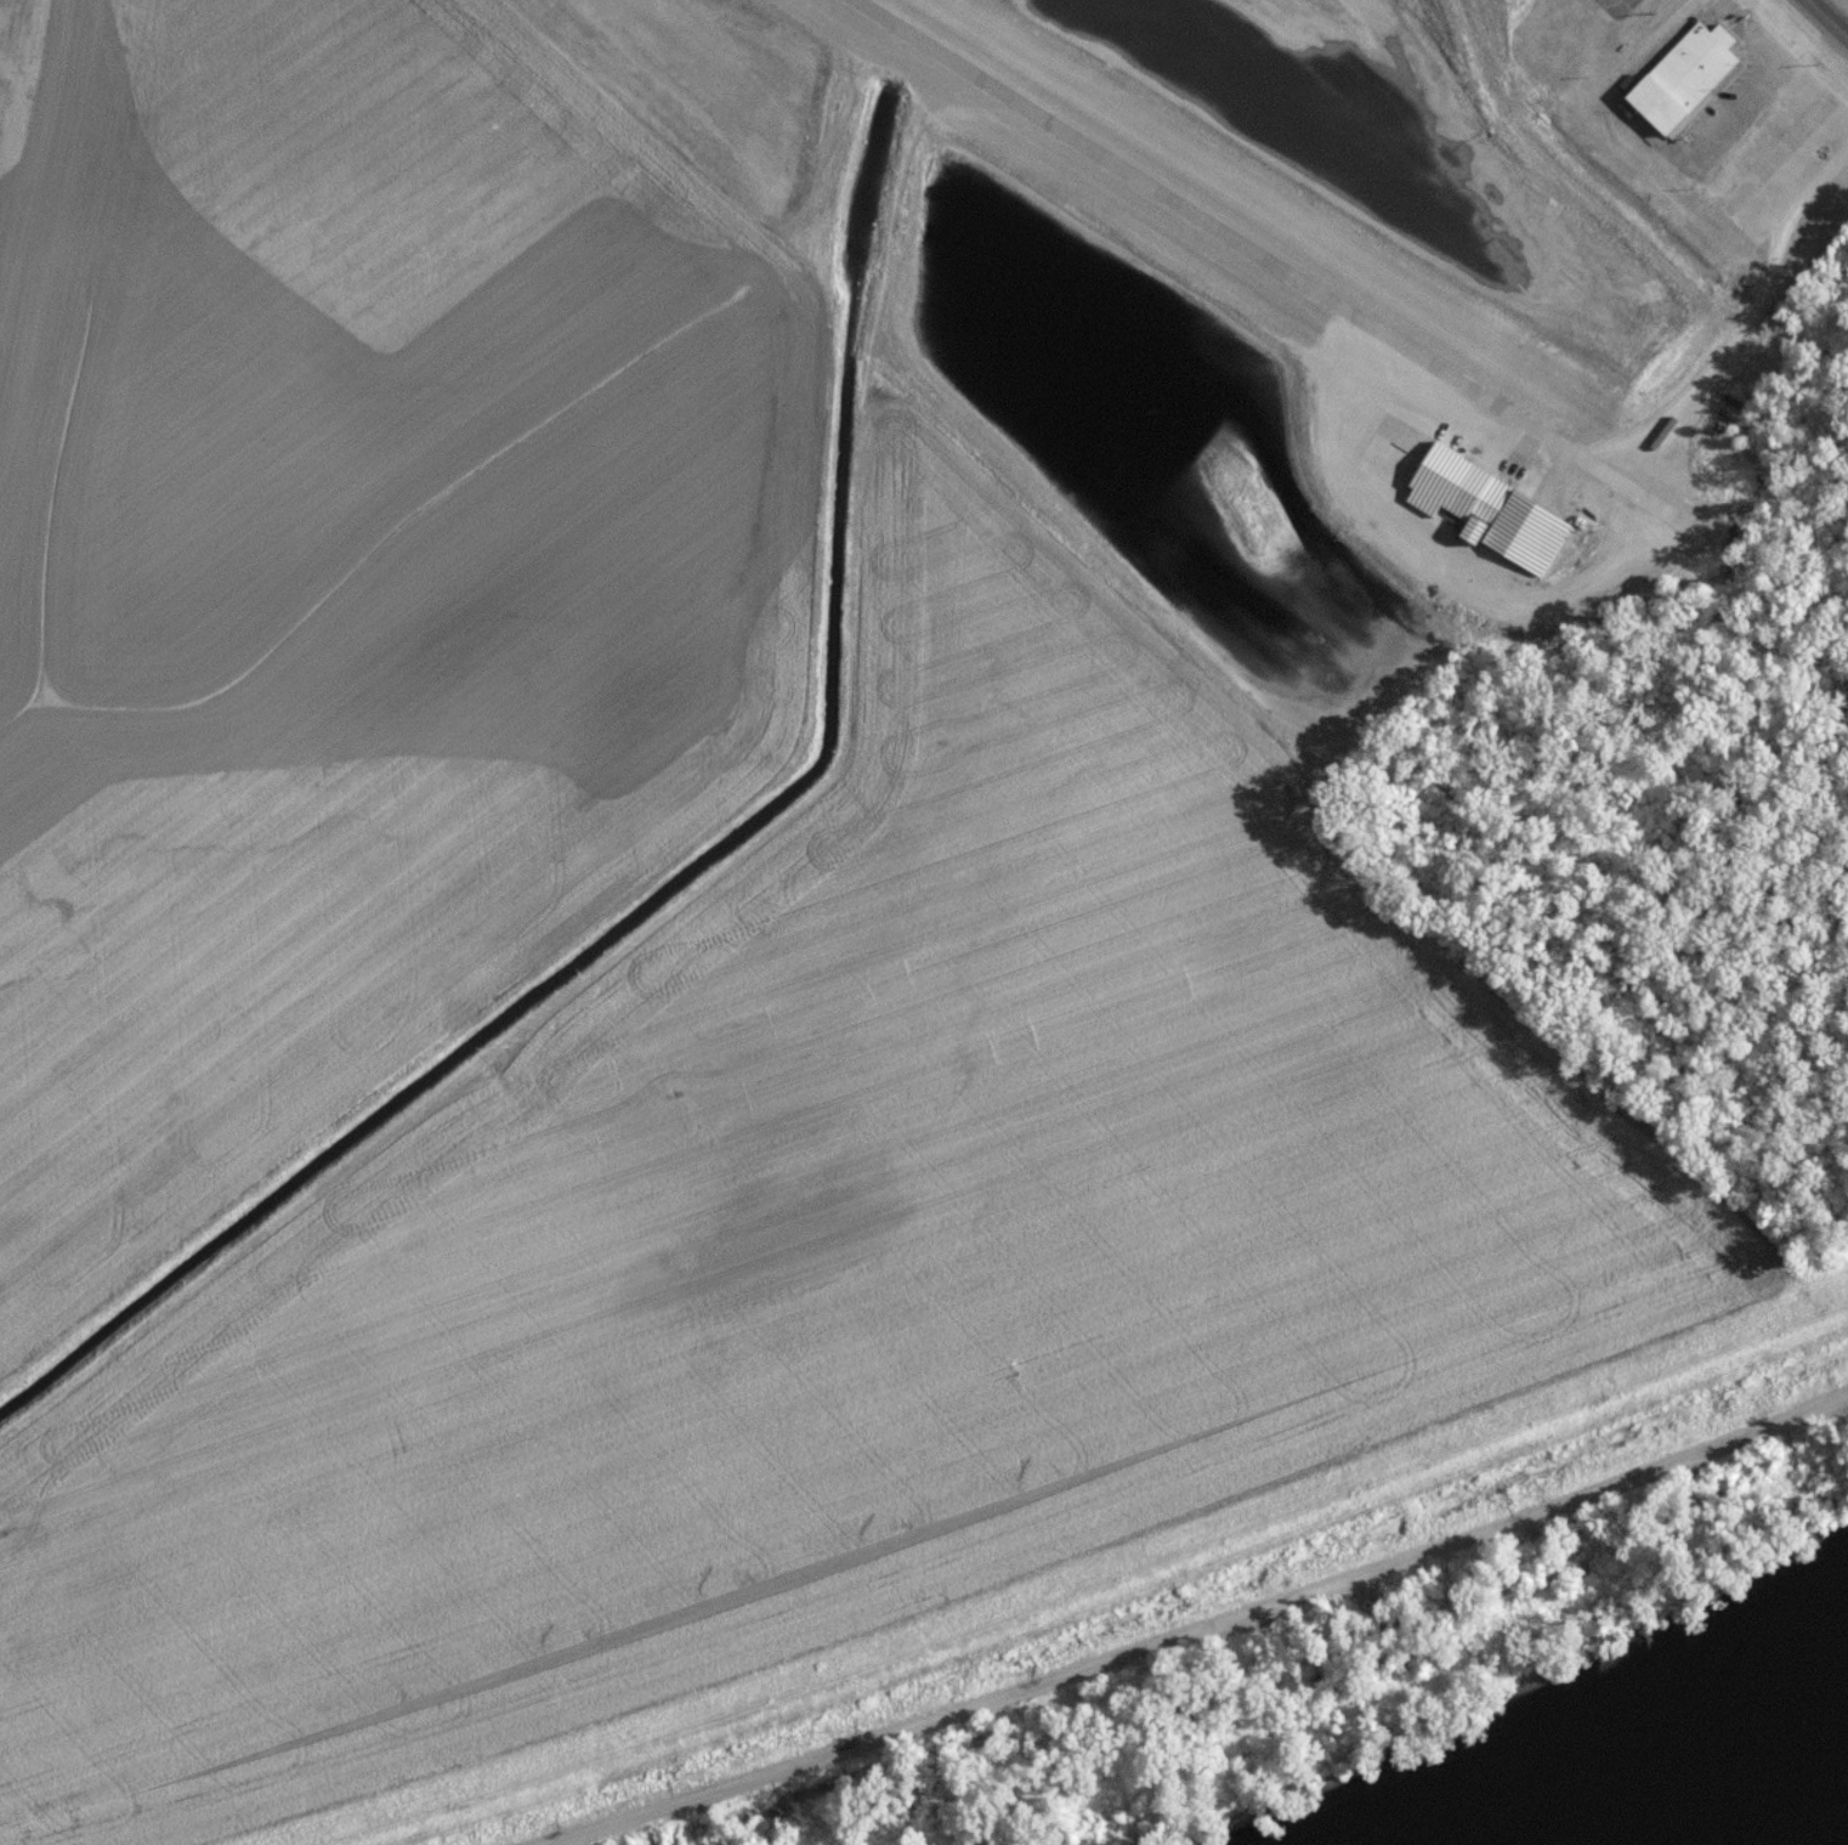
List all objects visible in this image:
road: (1824, 21)
building: (1684, 87)
airport runway: (1212, 230)
building: (1509, 517)
road: (1204, 1632)
river: (1767, 1802)

